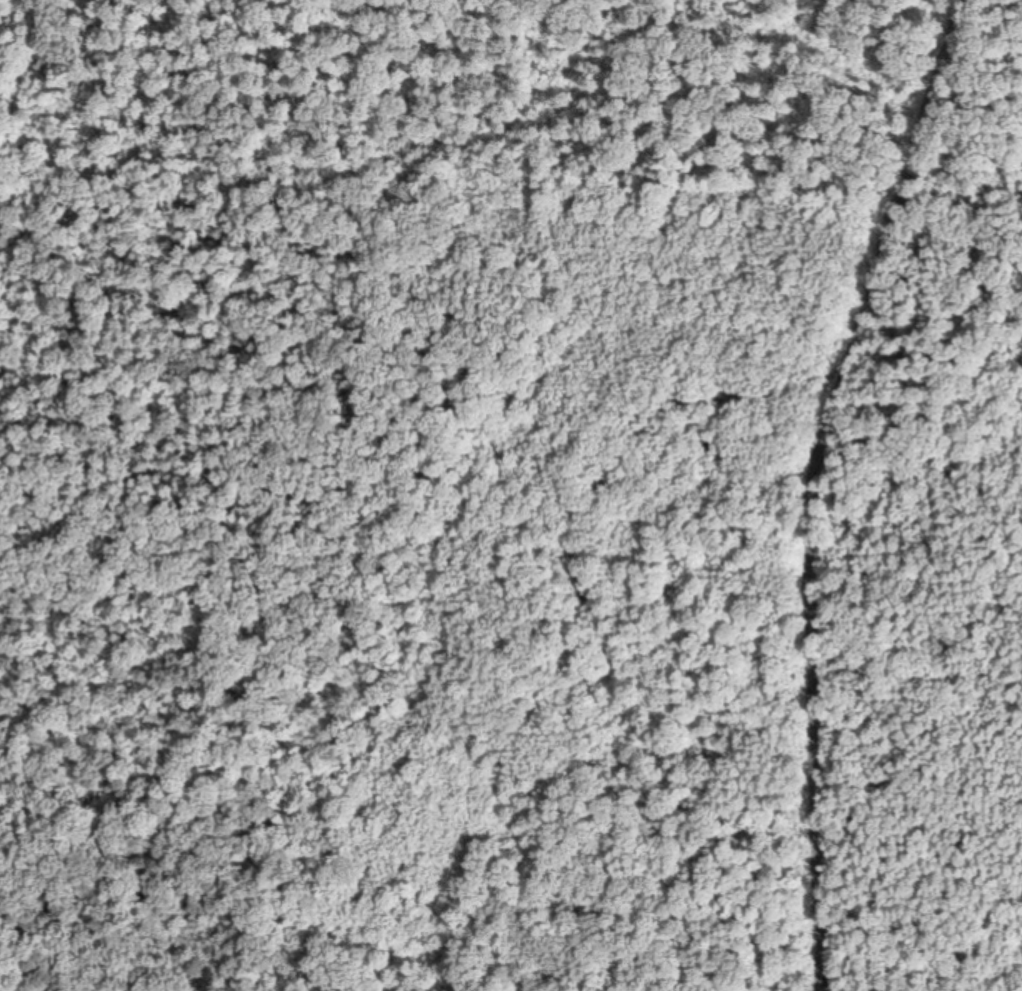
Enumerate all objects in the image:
building: (712, 445)
building: (696, 460)
road: (814, 484)

